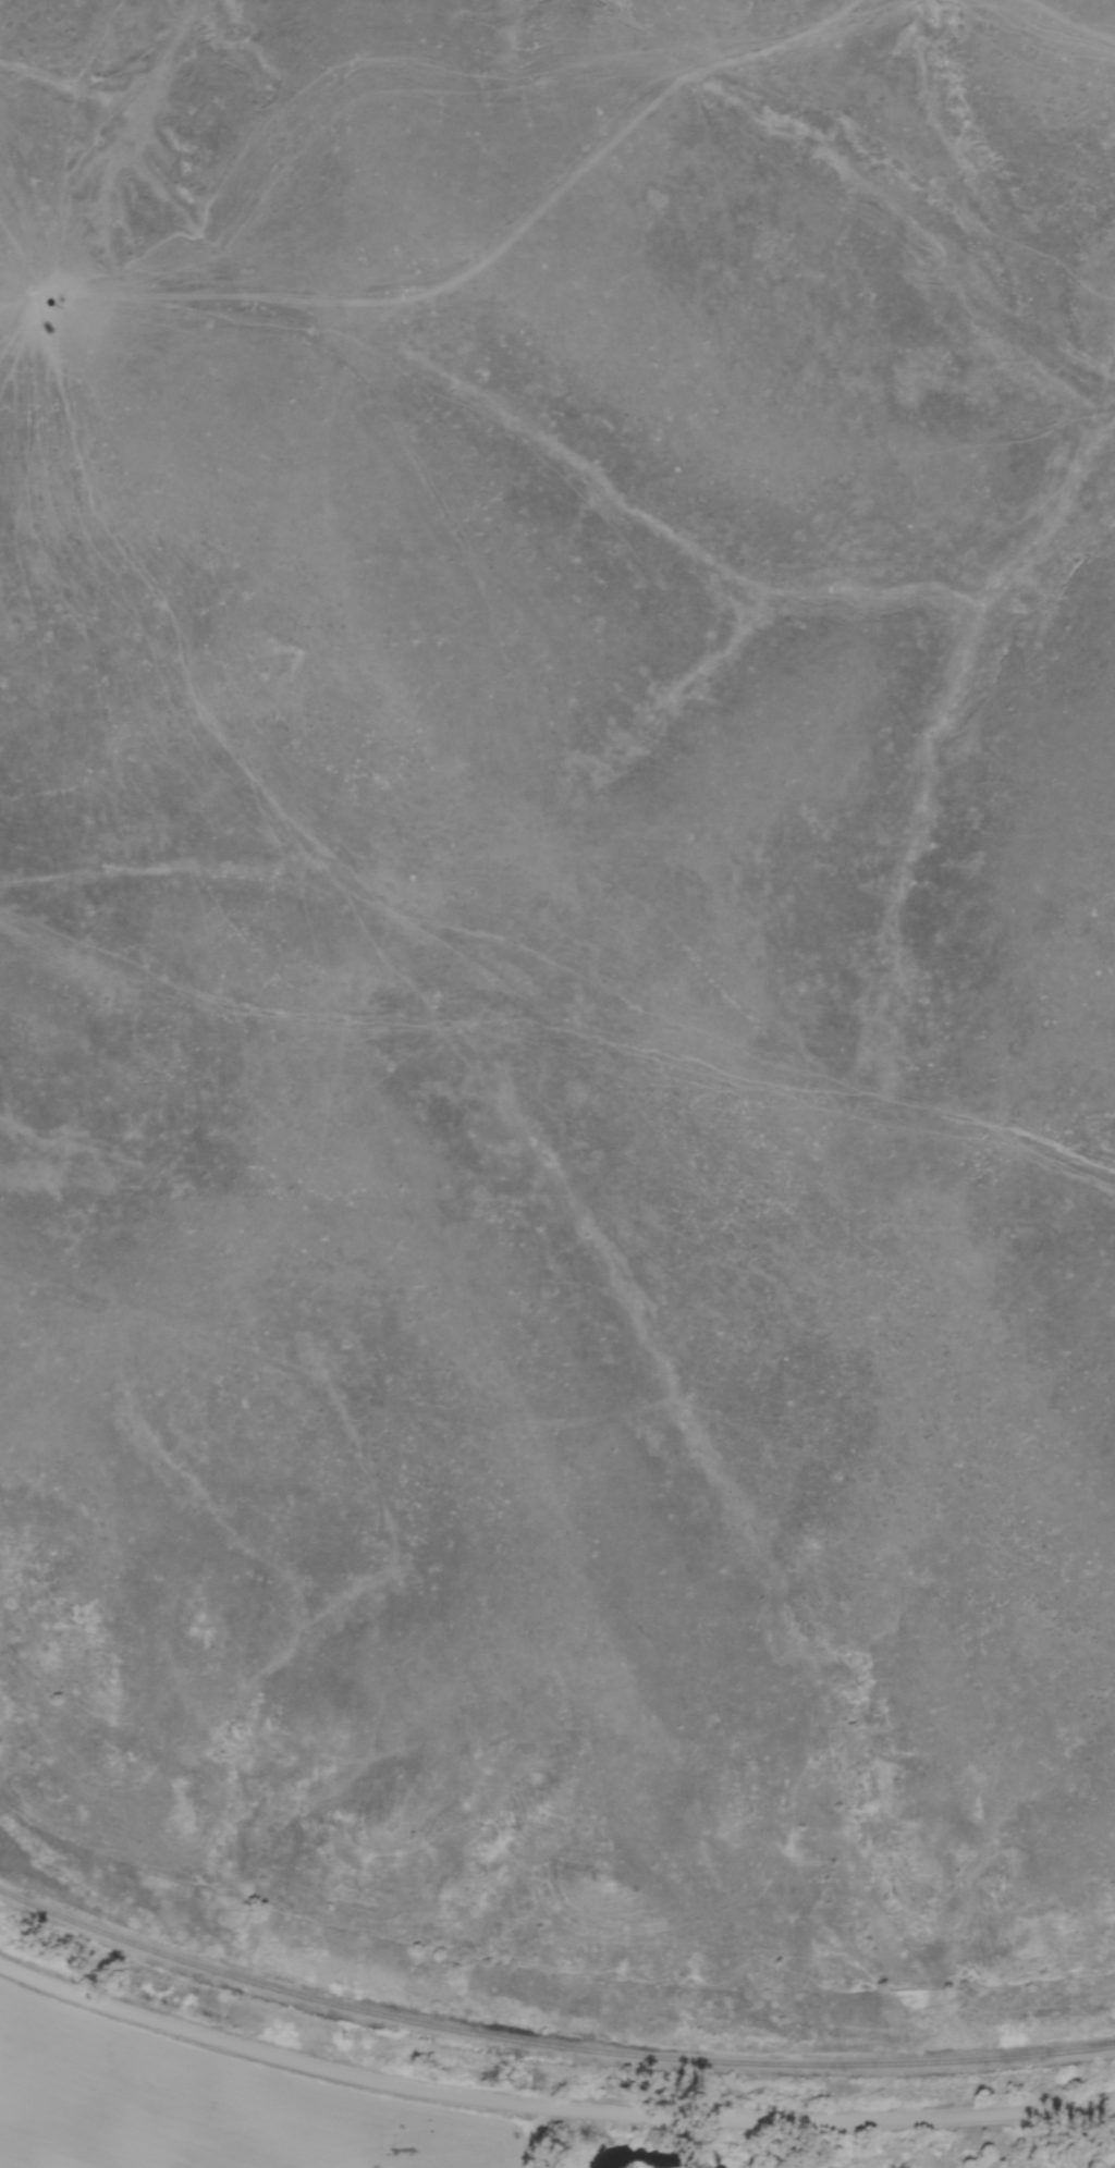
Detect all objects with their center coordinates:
railway: (547, 2045)
road: (548, 2110)

